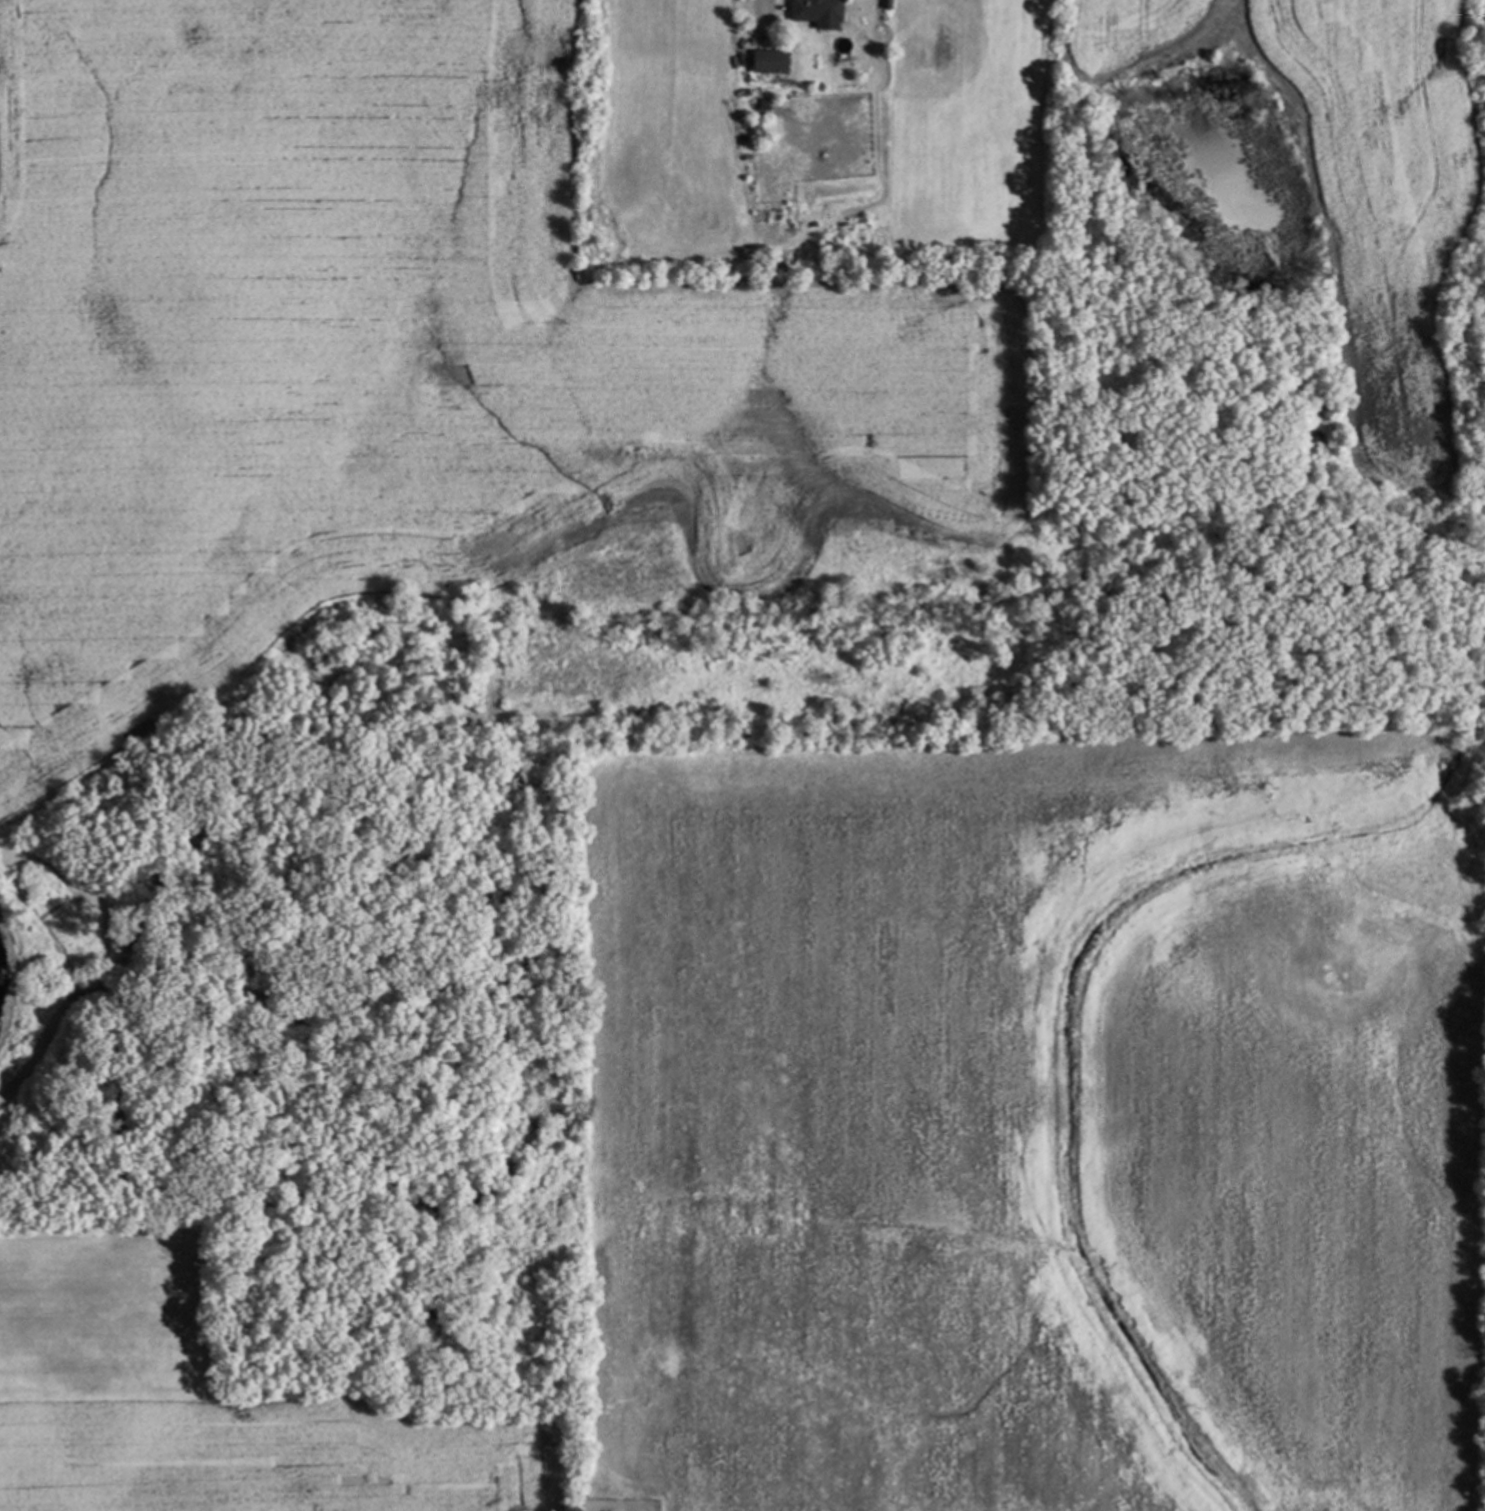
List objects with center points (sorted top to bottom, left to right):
road: (760, 5)
building: (811, 10)
crop: (601, 293)
crop: (936, 1158)

